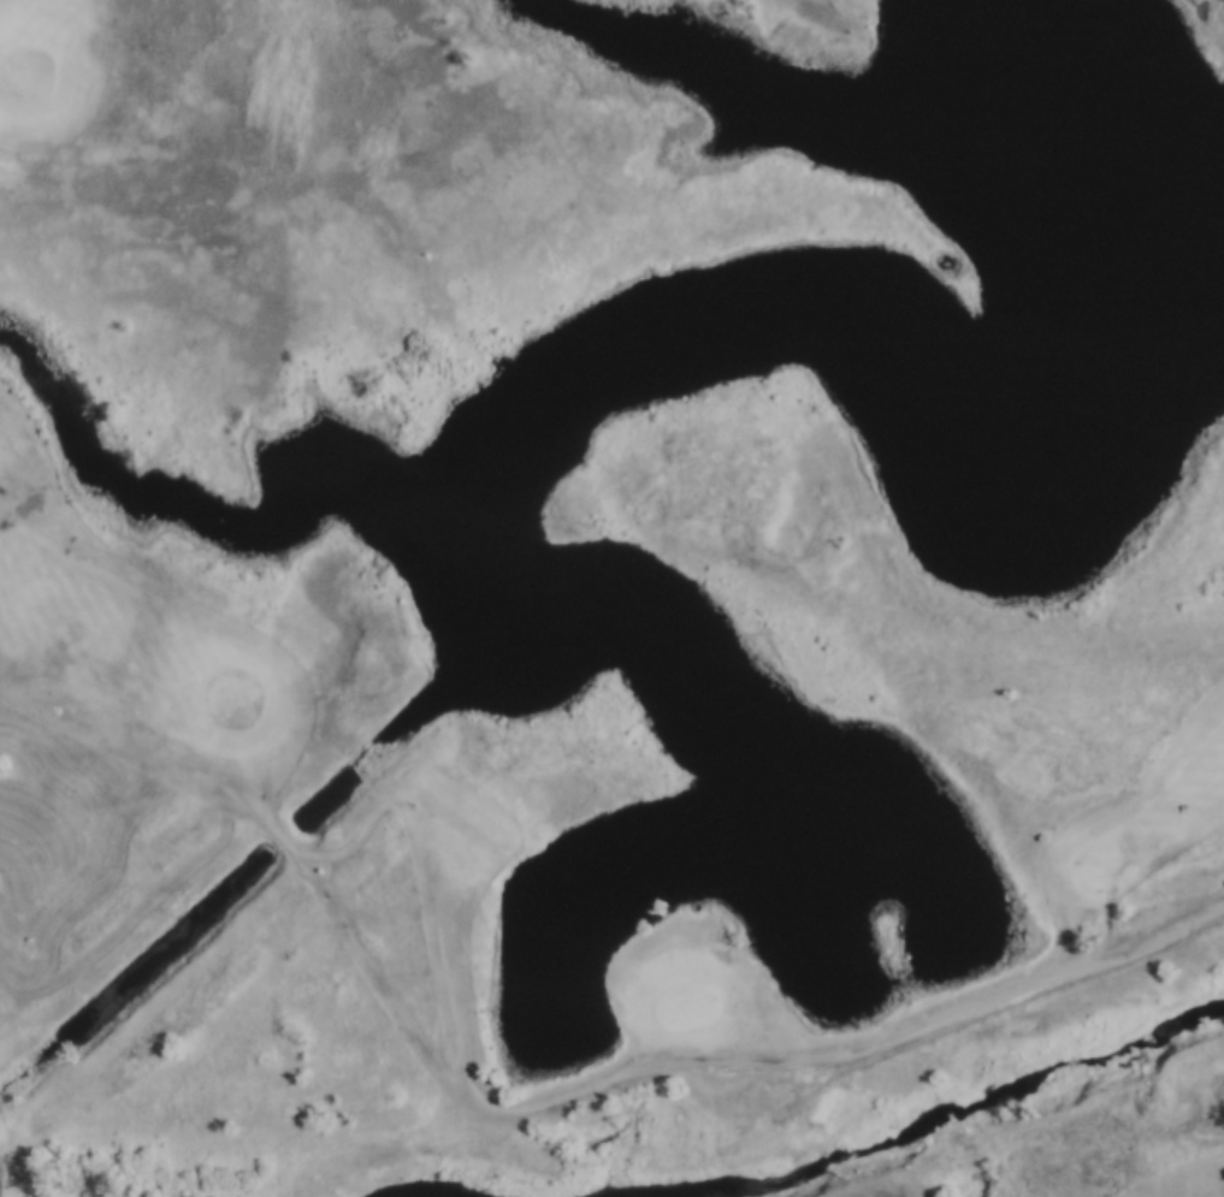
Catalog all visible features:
park: (637, 508)
building: (1034, 836)
road: (447, 903)
road: (539, 1107)

